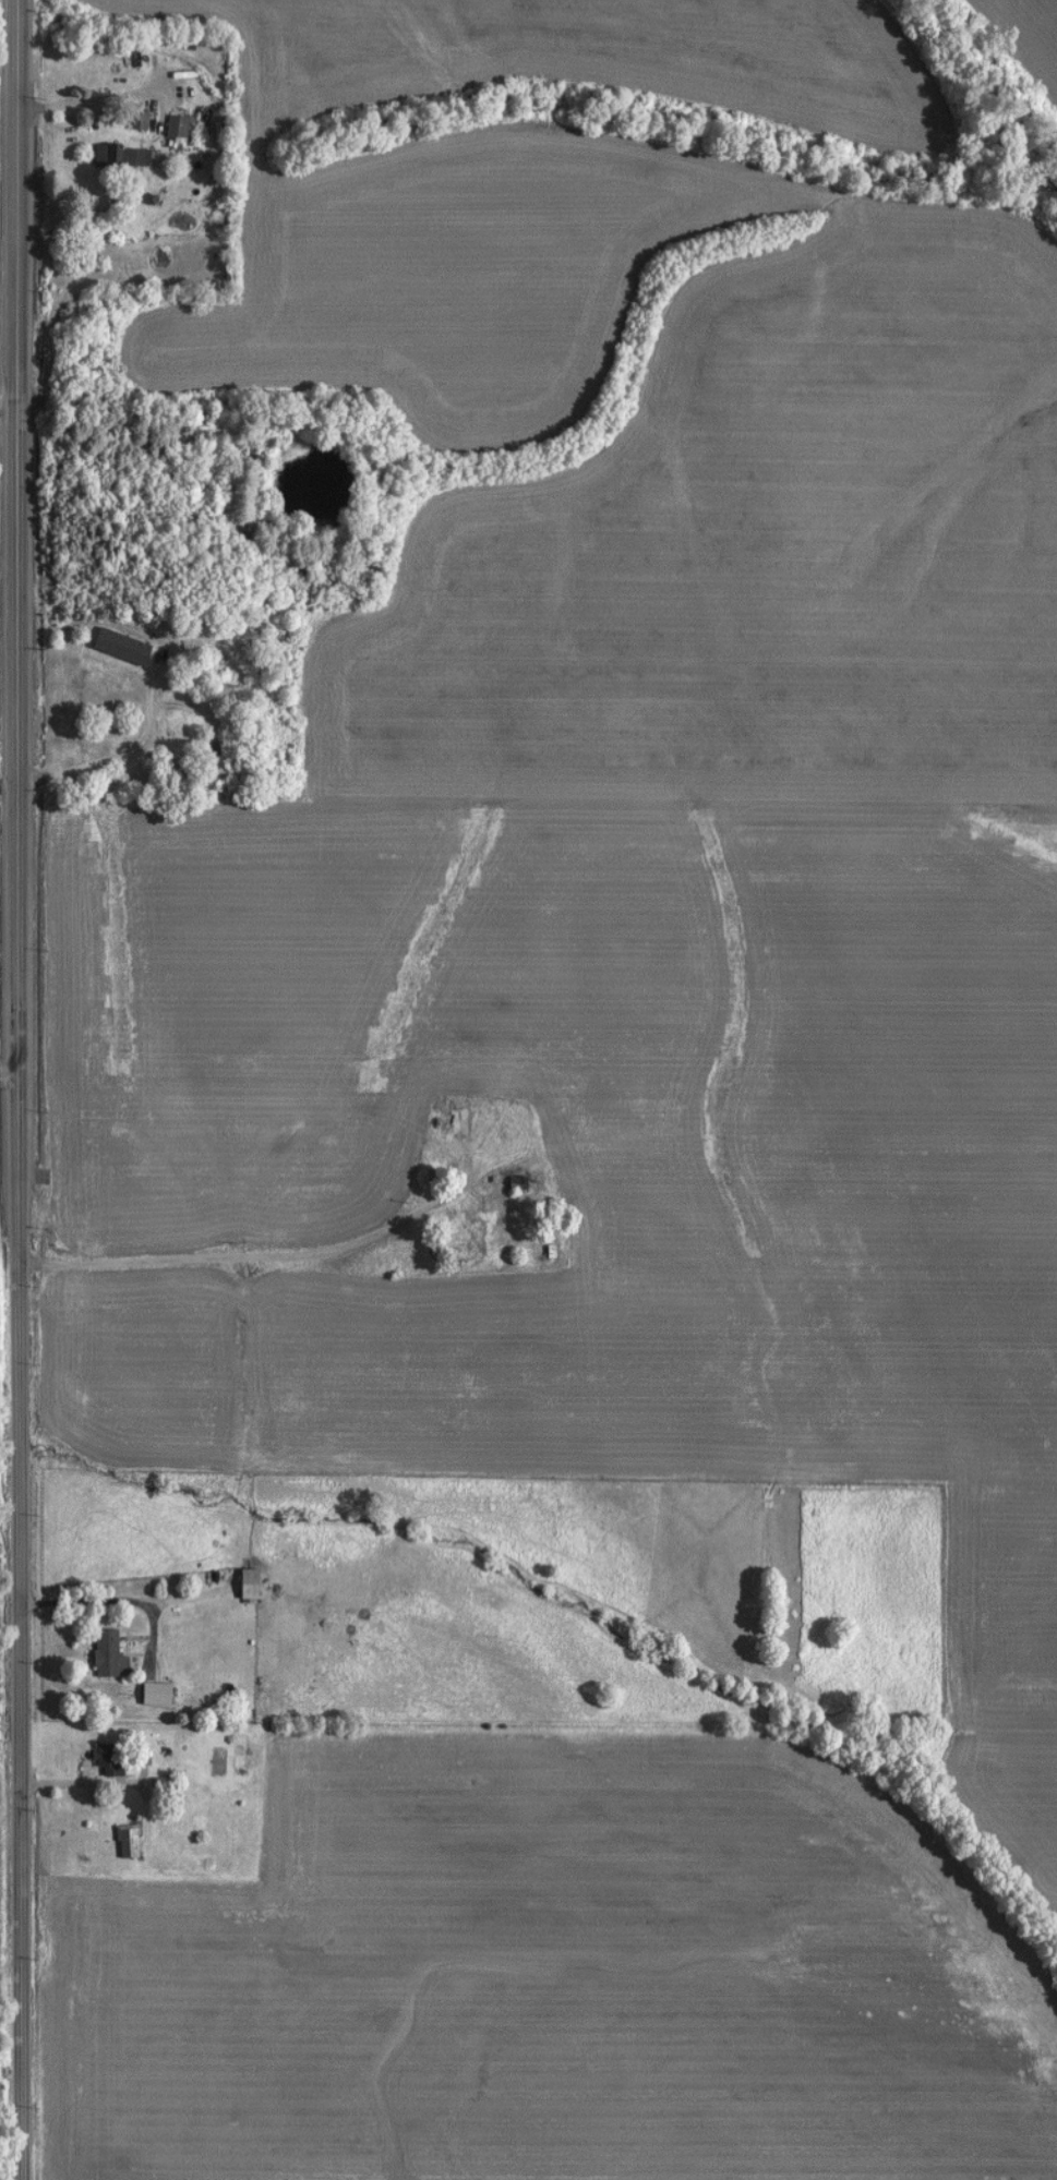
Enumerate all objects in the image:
road: (83, 105)
building: (136, 122)
building: (173, 129)
building: (115, 158)
road: (7, 407)
road: (8, 788)
road: (16, 1089)
building: (463, 1233)
road: (254, 1262)
building: (241, 1585)
building: (101, 1657)
road: (149, 1689)
building: (100, 1757)
building: (156, 1784)
building: (119, 1843)
road: (10, 2128)

